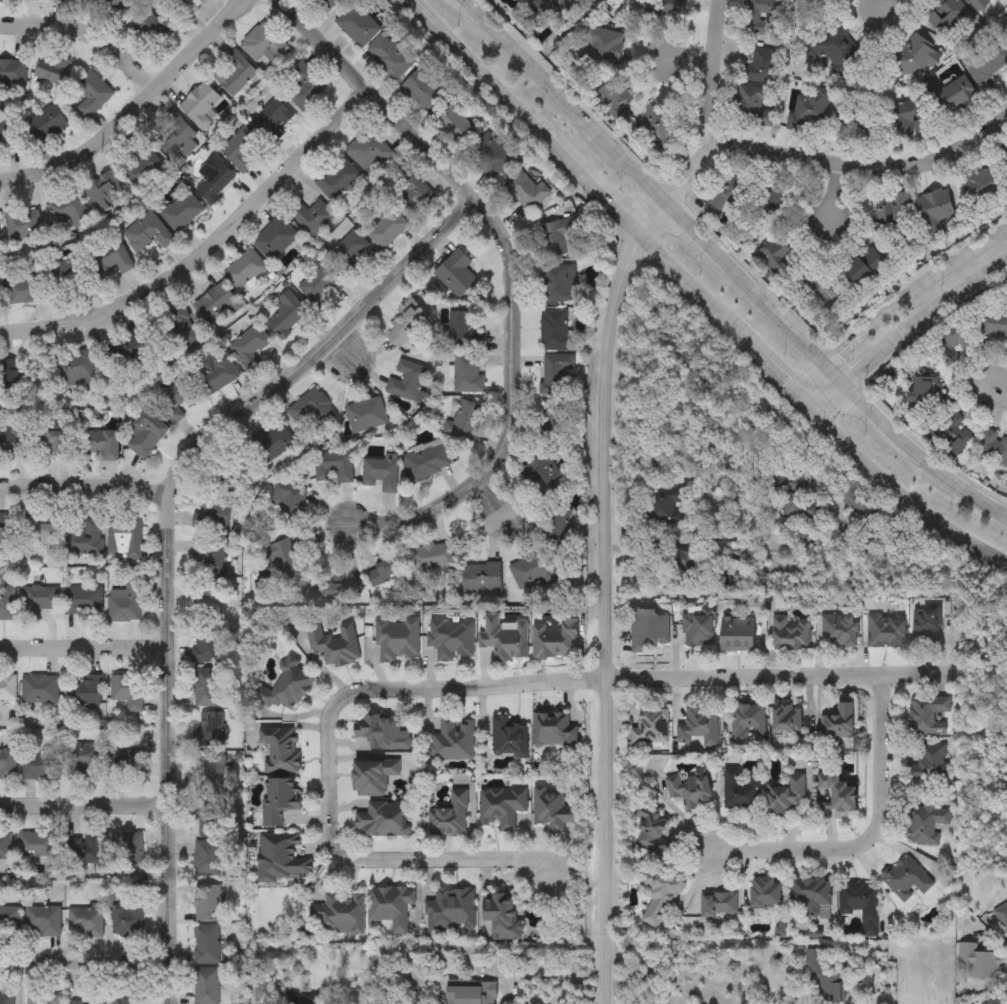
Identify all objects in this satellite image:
building: (0, 0)
building: (32, 0)
building: (59, 0)
building: (117, 3)
building: (194, 3)
road: (880, 3)
building: (325, 4)
building: (976, 4)
building: (549, 7)
building: (658, 7)
building: (945, 15)
building: (763, 16)
building: (1006, 21)
building: (357, 24)
building: (155, 26)
road: (86, 31)
building: (263, 44)
building: (603, 48)
building: (835, 49)
building: (389, 56)
building: (912, 56)
building: (987, 60)
road: (470, 66)
building: (759, 67)
building: (51, 68)
building: (12, 72)
building: (234, 73)
building: (306, 86)
building: (424, 89)
building: (616, 92)
building: (90, 93)
building: (952, 96)
building: (200, 104)
building: (752, 105)
road: (132, 108)
building: (808, 108)
building: (273, 119)
building: (908, 120)
building: (855, 121)
building: (455, 123)
building: (655, 123)
building: (46, 125)
building: (6, 133)
building: (173, 136)
building: (368, 149)
building: (240, 152)
building: (490, 155)
building: (1003, 159)
building: (139, 165)
road: (864, 167)
building: (337, 178)
building: (214, 179)
road: (587, 185)
building: (981, 189)
building: (776, 190)
road: (834, 190)
building: (525, 191)
building: (107, 192)
building: (725, 194)
building: (411, 196)
building: (68, 209)
building: (182, 211)
building: (933, 213)
building: (888, 214)
building: (311, 216)
building: (23, 223)
building: (387, 228)
building: (147, 234)
building: (557, 237)
building: (275, 239)
road: (207, 245)
building: (348, 251)
building: (777, 258)
road: (727, 267)
building: (864, 267)
building: (85, 269)
building: (246, 269)
building: (457, 273)
road: (511, 273)
building: (317, 281)
building: (559, 283)
road: (684, 285)
building: (25, 287)
building: (823, 292)
building: (218, 305)
road: (897, 307)
building: (287, 314)
building: (992, 322)
building: (406, 323)
building: (181, 326)
building: (460, 330)
building: (555, 330)
road: (905, 331)
building: (952, 342)
building: (250, 343)
building: (128, 354)
road: (762, 364)
traffic signals: (830, 368)
building: (77, 369)
building: (557, 372)
building: (468, 374)
building: (18, 379)
building: (408, 381)
traffic signals: (846, 386)
building: (927, 389)
road: (999, 394)
traffic signals: (796, 397)
building: (178, 400)
building: (312, 407)
road: (805, 408)
building: (366, 415)
traffic signals: (815, 419)
building: (466, 422)
building: (947, 431)
building: (147, 434)
building: (13, 440)
building: (53, 443)
building: (101, 444)
building: (993, 449)
building: (427, 462)
building: (339, 465)
building: (380, 473)
building: (544, 475)
building: (1005, 484)
road: (602, 486)
road: (85, 488)
building: (1006, 488)
road: (904, 502)
building: (804, 512)
building: (661, 513)
building: (213, 517)
building: (557, 527)
building: (28, 532)
road: (169, 532)
building: (82, 537)
building: (124, 538)
building: (211, 554)
building: (431, 556)
building: (284, 559)
building: (386, 570)
building: (531, 571)
building: (483, 577)
building: (340, 588)
building: (207, 599)
building: (38, 601)
building: (84, 601)
building: (7, 604)
building: (125, 605)
building: (928, 624)
building: (699, 626)
building: (648, 629)
building: (840, 631)
building: (887, 632)
building: (792, 633)
building: (738, 634)
building: (397, 638)
building: (505, 638)
building: (452, 639)
building: (555, 639)
building: (208, 643)
building: (333, 643)
road: (84, 645)
road: (762, 677)
building: (8, 687)
building: (287, 687)
building: (206, 688)
road: (382, 688)
building: (39, 689)
building: (85, 692)
building: (127, 692)
building: (928, 714)
building: (789, 716)
building: (840, 721)
building: (748, 722)
building: (700, 724)
building: (651, 725)
building: (554, 729)
building: (210, 730)
building: (382, 731)
building: (508, 735)
building: (454, 738)
building: (280, 747)
building: (82, 760)
building: (931, 761)
building: (125, 764)
building: (7, 765)
building: (40, 767)
building: (373, 775)
building: (690, 787)
building: (840, 789)
building: (741, 790)
building: (210, 795)
building: (787, 795)
building: (279, 797)
building: (502, 805)
road: (85, 806)
building: (553, 808)
building: (450, 815)
building: (383, 818)
building: (926, 821)
building: (650, 829)
road: (874, 839)
building: (37, 844)
building: (5, 845)
building: (83, 848)
building: (128, 850)
building: (280, 855)
building: (207, 857)
road: (461, 858)
building: (907, 878)
building: (663, 884)
building: (767, 889)
building: (811, 892)
building: (208, 902)
building: (719, 903)
building: (861, 903)
building: (391, 905)
building: (451, 908)
building: (341, 912)
building: (503, 915)
building: (1002, 916)
building: (128, 919)
building: (9, 920)
building: (43, 920)
building: (84, 920)
building: (206, 943)
road: (85, 963)
building: (979, 963)
road: (530, 974)
building: (825, 977)
road: (775, 982)
building: (207, 986)
road: (516, 990)
building: (472, 994)
road: (557, 996)
building: (7, 998)
building: (44, 998)
building: (127, 998)
building: (93, 999)
building: (992, 1001)

